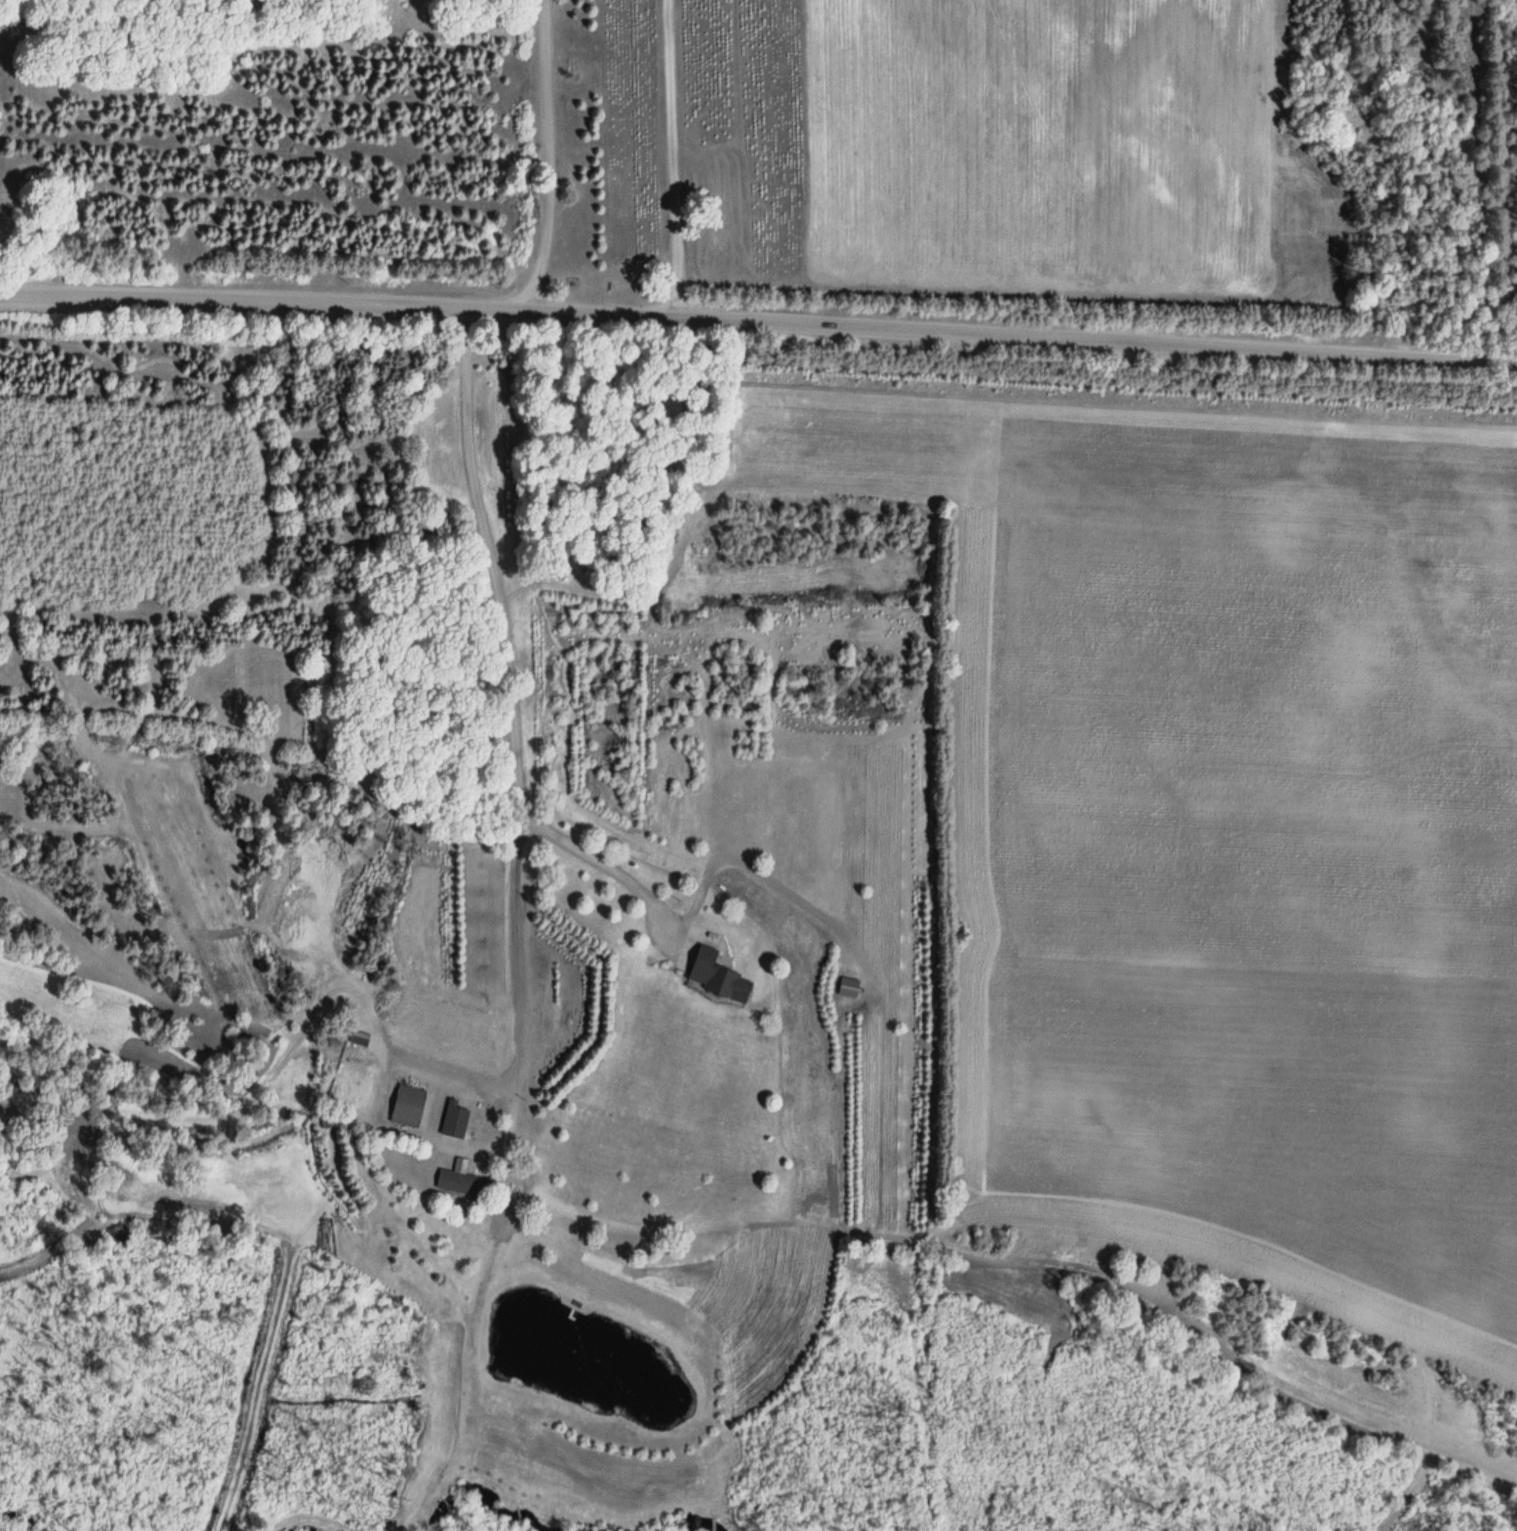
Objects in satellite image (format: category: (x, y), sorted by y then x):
road: (546, 153)
road: (675, 155)
road: (758, 316)
road: (511, 741)
building: (712, 976)
building: (846, 987)
building: (404, 1104)
building: (453, 1117)
building: (460, 1182)
road: (996, 1216)

